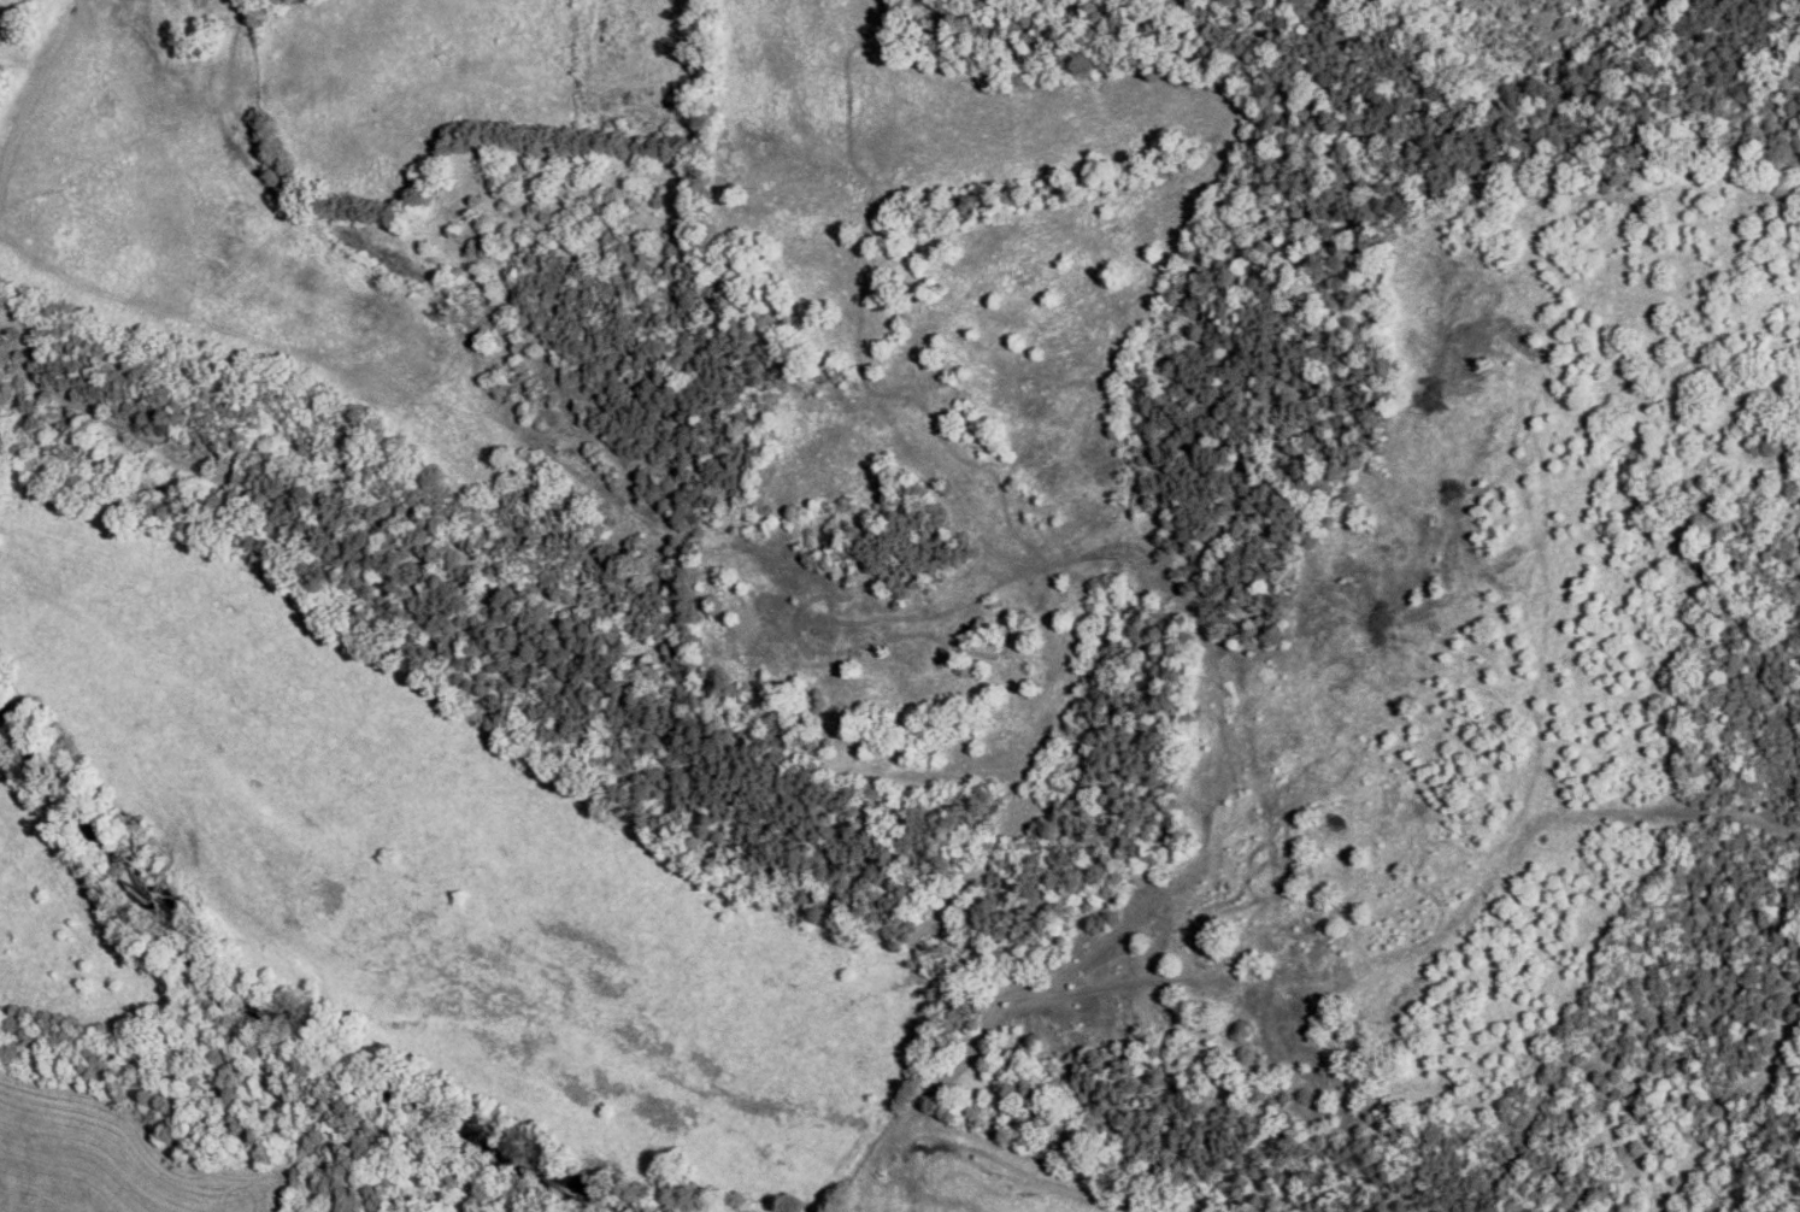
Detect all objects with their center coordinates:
road: (30, 95)

